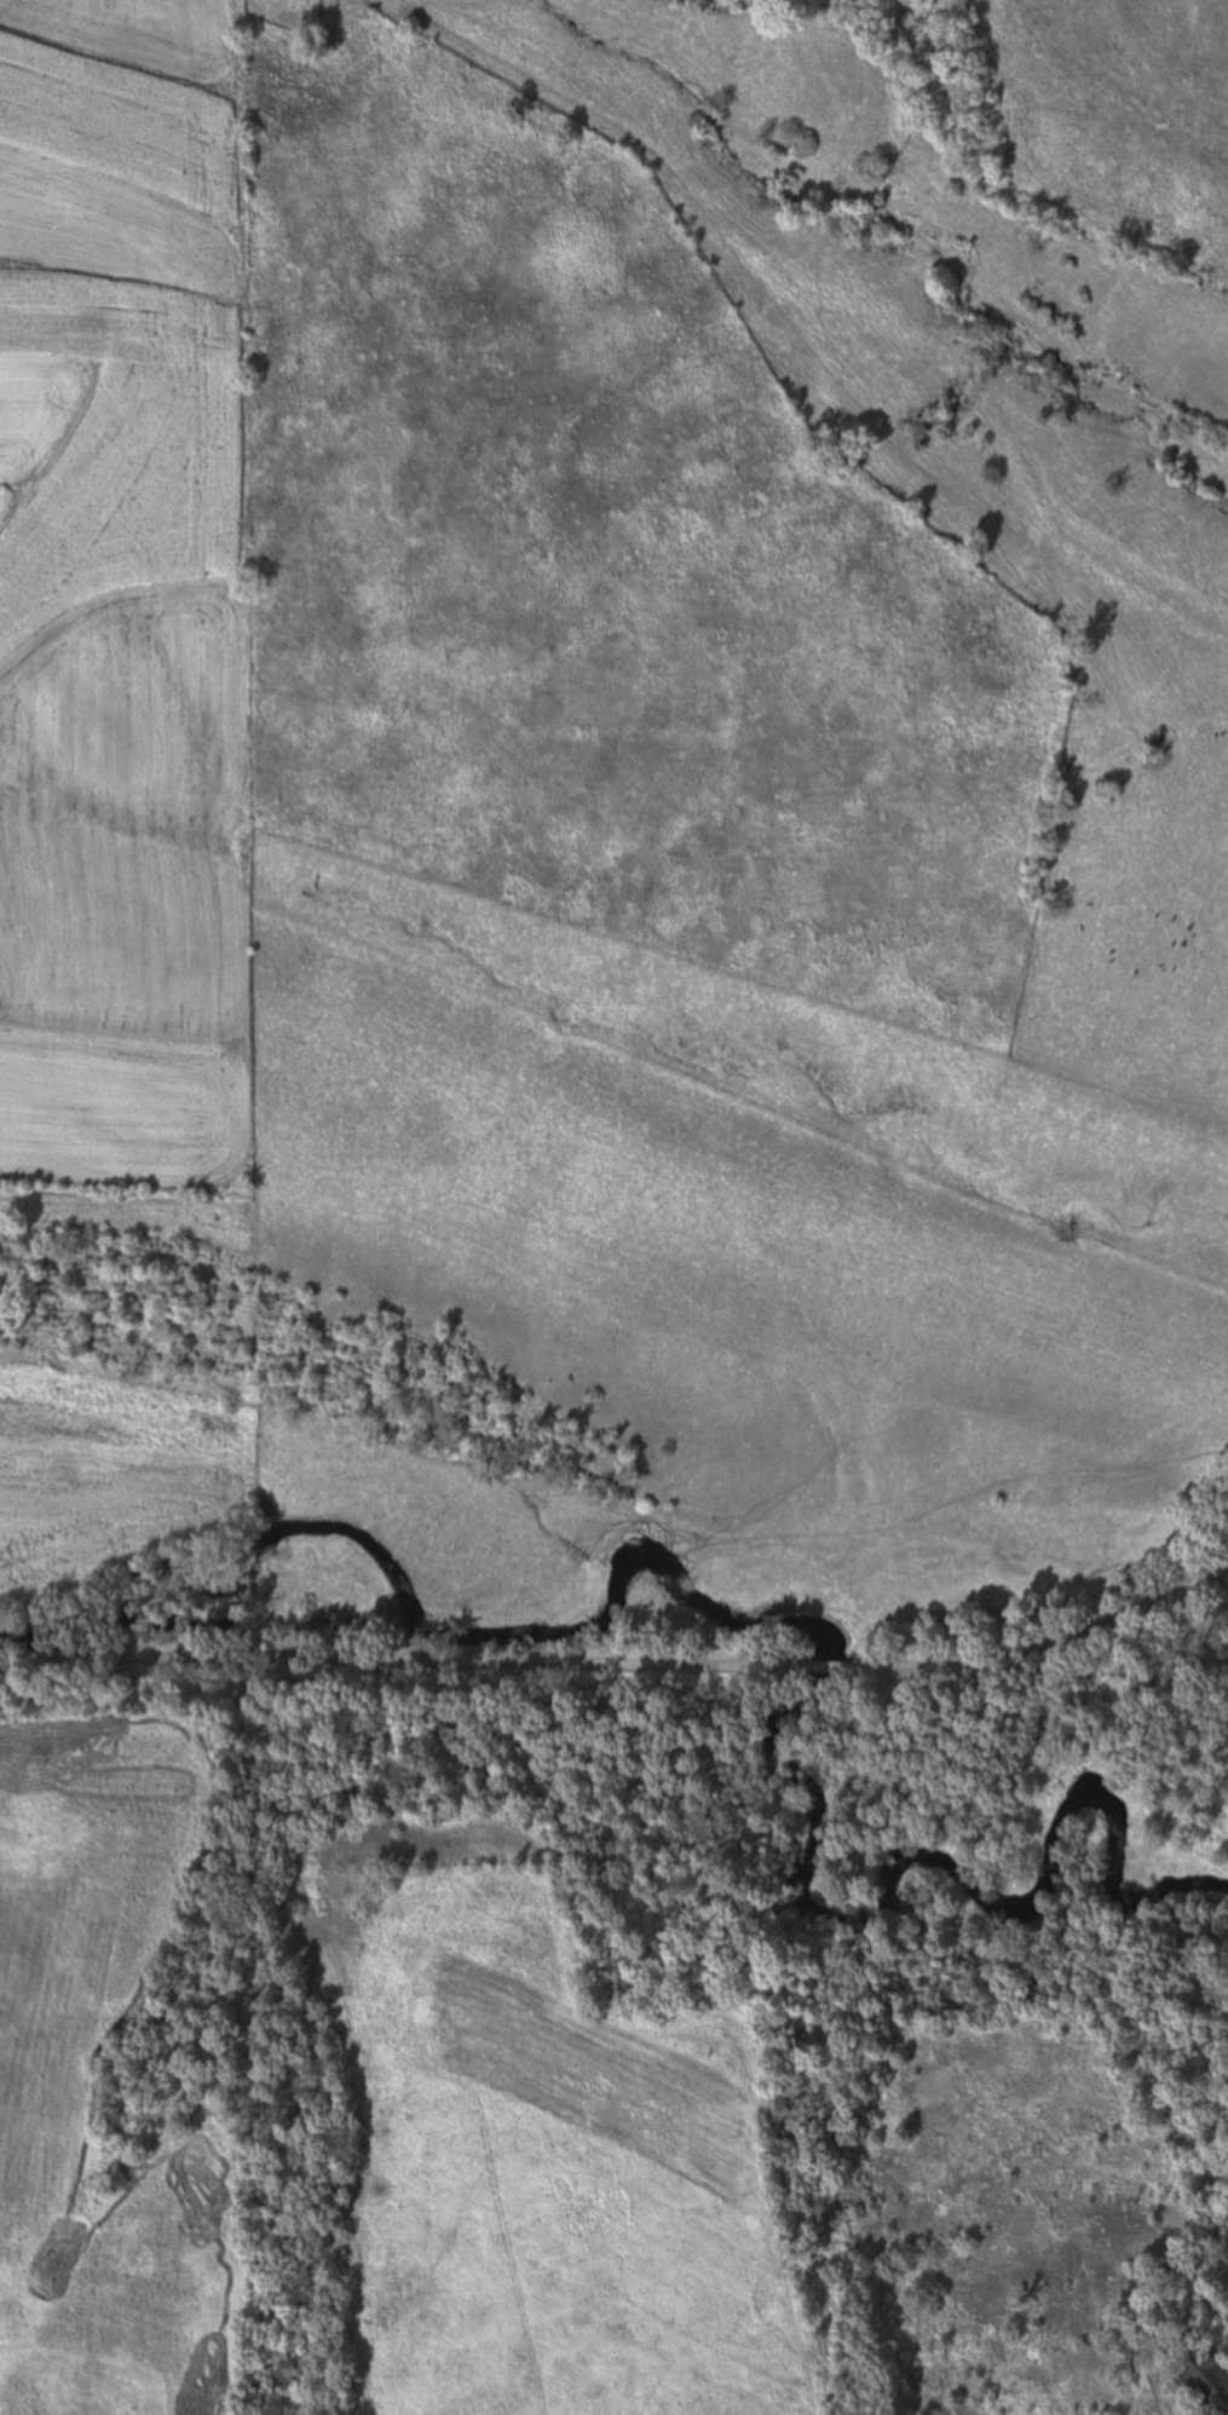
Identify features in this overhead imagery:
road: (1224, 1570)
road: (1207, 1579)
river: (788, 1624)
road: (1030, 1653)
road: (403, 1659)
road: (831, 1668)

